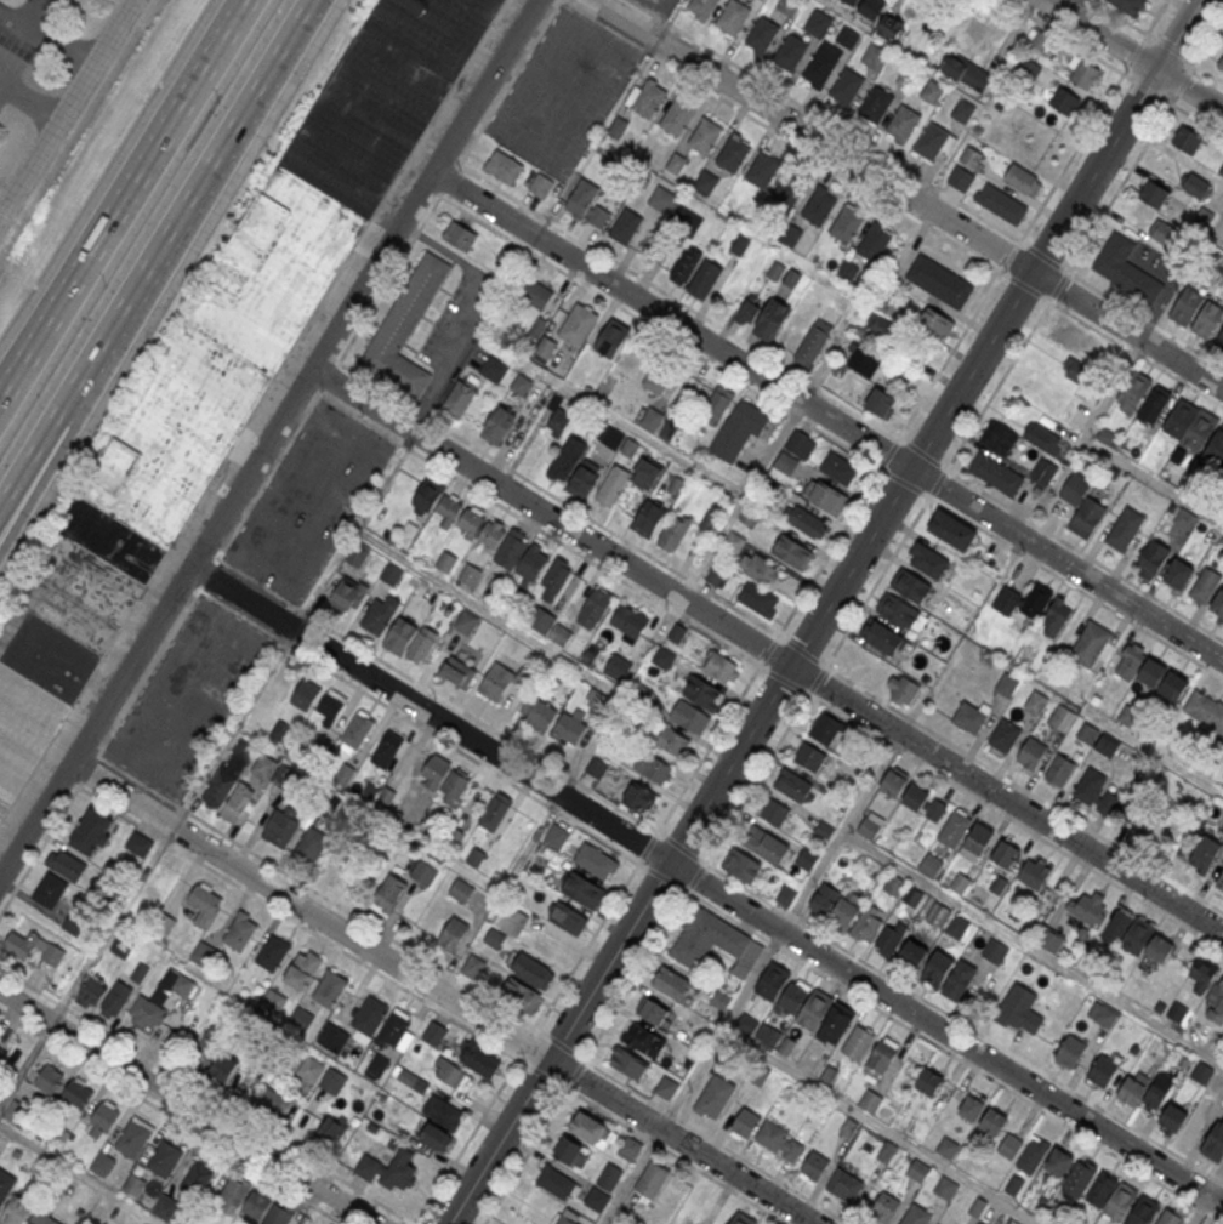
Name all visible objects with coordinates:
road: (1048, 0)
building: (851, 1)
parking lot: (660, 6)
building: (1128, 6)
building: (701, 7)
road: (28, 13)
building: (882, 17)
building: (732, 18)
building: (819, 24)
road: (1054, 28)
building: (761, 35)
road: (46, 42)
building: (790, 53)
road: (1134, 55)
building: (875, 57)
building: (1221, 62)
road: (1127, 64)
building: (821, 66)
building: (967, 73)
building: (1082, 74)
building: (906, 78)
building: (846, 87)
parking lot: (562, 92)
building: (932, 93)
road: (32, 95)
building: (649, 101)
building: (1065, 103)
building: (875, 106)
road: (68, 110)
building: (962, 110)
building: (677, 118)
building: (903, 125)
road: (836, 127)
building: (705, 137)
building: (1187, 140)
road: (795, 142)
building: (931, 143)
building: (733, 154)
road: (150, 155)
building: (971, 156)
building: (502, 166)
building: (1221, 169)
building: (763, 171)
building: (961, 180)
building: (1023, 180)
building: (706, 181)
building: (1194, 184)
building: (540, 186)
building: (790, 188)
building: (1153, 194)
road: (906, 195)
building: (662, 199)
building: (587, 205)
building: (1001, 205)
building: (818, 207)
building: (846, 224)
building: (625, 227)
building: (1164, 234)
building: (459, 235)
building: (874, 244)
building: (739, 245)
road: (155, 249)
building: (684, 266)
building: (1125, 268)
building: (775, 271)
building: (791, 278)
building: (705, 279)
building: (939, 281)
building: (536, 295)
road: (678, 302)
building: (1187, 306)
road: (474, 311)
building: (763, 318)
building: (1207, 319)
building: (937, 324)
building: (578, 326)
building: (405, 329)
road: (659, 332)
building: (611, 340)
building: (1219, 340)
road: (27, 342)
building: (813, 343)
building: (546, 348)
road: (27, 354)
building: (227, 359)
building: (861, 361)
road: (106, 370)
building: (493, 370)
building: (1077, 371)
building: (655, 381)
building: (521, 385)
building: (1133, 392)
building: (460, 398)
building: (717, 404)
building: (881, 404)
building: (1154, 404)
road: (827, 416)
building: (1181, 417)
building: (652, 419)
building: (558, 423)
building: (499, 425)
building: (1200, 429)
building: (739, 431)
road: (268, 437)
building: (999, 438)
building: (1108, 438)
building: (1043, 439)
road: (656, 444)
building: (800, 445)
building: (630, 446)
building: (1216, 448)
road: (1107, 450)
building: (567, 459)
building: (838, 469)
building: (996, 472)
building: (1045, 472)
building: (582, 483)
building: (675, 485)
building: (611, 486)
building: (825, 499)
road: (741, 500)
parking lot: (308, 501)
building: (437, 502)
building: (1081, 506)
building: (749, 517)
building: (648, 519)
building: (1184, 520)
building: (470, 522)
building: (807, 522)
building: (950, 526)
building: (1125, 528)
building: (672, 533)
building: (491, 534)
building: (734, 542)
building: (793, 554)
building: (357, 556)
building: (522, 556)
building: (928, 560)
building: (1151, 560)
building: (445, 562)
building: (758, 568)
building: (1179, 571)
building: (391, 574)
building: (468, 575)
building: (717, 575)
building: (554, 579)
building: (912, 585)
building: (1206, 585)
building: (346, 596)
building: (758, 600)
building: (1023, 602)
building: (1218, 604)
building: (593, 609)
building: (898, 609)
road: (824, 611)
building: (379, 616)
building: (1057, 617)
building: (465, 621)
building: (628, 622)
building: (552, 628)
building: (677, 634)
building: (881, 634)
building: (410, 639)
road: (540, 642)
building: (1090, 644)
road: (767, 653)
building: (662, 657)
building: (618, 667)
road: (757, 667)
building: (721, 668)
building: (457, 672)
building: (1153, 672)
building: (502, 681)
building: (1006, 684)
building: (1173, 685)
building: (903, 689)
building: (305, 694)
building: (702, 694)
parking lot: (188, 695)
building: (596, 700)
building: (1036, 702)
building: (329, 706)
building: (1205, 710)
building: (536, 712)
building: (690, 717)
building: (969, 717)
building: (1062, 718)
road: (790, 722)
building: (569, 729)
building: (357, 730)
building: (825, 730)
building: (1003, 735)
building: (672, 741)
building: (386, 748)
building: (1031, 753)
road: (97, 755)
building: (809, 758)
building: (263, 765)
building: (654, 768)
building: (1059, 770)
building: (434, 773)
building: (227, 774)
building: (343, 775)
building: (284, 778)
building: (893, 784)
building: (1090, 785)
building: (792, 786)
road: (1210, 786)
building: (454, 789)
building: (639, 798)
building: (237, 802)
building: (925, 804)
building: (495, 812)
building: (774, 813)
building: (870, 826)
building: (1149, 826)
building: (280, 827)
building: (954, 827)
building: (91, 833)
building: (556, 836)
building: (975, 839)
road: (42, 841)
building: (137, 844)
building: (311, 846)
building: (766, 846)
building: (1005, 853)
building: (1204, 855)
building: (806, 859)
building: (596, 861)
building: (929, 863)
building: (741, 865)
building: (66, 866)
building: (874, 870)
building: (332, 871)
building: (1034, 872)
building: (422, 873)
road: (808, 879)
road: (707, 883)
building: (894, 883)
building: (581, 888)
building: (461, 889)
building: (49, 890)
building: (387, 894)
building: (785, 895)
building: (824, 899)
building: (204, 905)
building: (846, 905)
building: (1088, 910)
building: (938, 912)
building: (567, 917)
road: (983, 917)
building: (510, 918)
building: (866, 920)
building: (72, 923)
building: (956, 923)
building: (239, 930)
building: (889, 932)
building: (453, 934)
building: (1048, 936)
building: (715, 943)
building: (121, 946)
building: (30, 947)
building: (995, 947)
building: (1159, 947)
building: (272, 952)
building: (201, 953)
building: (912, 955)
building: (937, 964)
building: (472, 967)
building: (529, 969)
building: (1204, 969)
building: (301, 970)
building: (770, 978)
building: (957, 979)
building: (181, 985)
building: (673, 985)
building: (329, 987)
road: (445, 989)
building: (91, 991)
building: (517, 994)
building: (792, 996)
building: (115, 1000)
building: (269, 1000)
road: (433, 1003)
building: (814, 1006)
building: (1216, 1007)
building: (653, 1012)
building: (369, 1013)
building: (1103, 1013)
building: (146, 1014)
building: (835, 1019)
building: (300, 1020)
building: (392, 1026)
road: (721, 1029)
building: (434, 1034)
building: (332, 1038)
building: (644, 1040)
building: (857, 1040)
building: (206, 1046)
building: (1070, 1049)
building: (880, 1054)
building: (478, 1060)
road: (24, 1063)
building: (628, 1063)
building: (376, 1068)
building: (223, 1069)
building: (1102, 1070)
building: (449, 1074)
building: (1201, 1074)
building: (406, 1078)
building: (46, 1080)
building: (928, 1081)
building: (666, 1087)
building: (1131, 1091)
building: (75, 1092)
building: (713, 1093)
building: (271, 1100)
building: (870, 1100)
building: (969, 1106)
road: (187, 1108)
building: (1172, 1116)
building: (102, 1118)
building: (744, 1121)
building: (992, 1121)
building: (439, 1123)
road: (878, 1127)
building: (591, 1129)
building: (329, 1134)
building: (132, 1135)
building: (779, 1140)
building: (1009, 1146)
building: (630, 1148)
building: (946, 1148)
building: (569, 1151)
building: (1033, 1155)
building: (164, 1156)
building: (1058, 1161)
building: (102, 1165)
building: (814, 1166)
building: (917, 1169)
building: (391, 1171)
road: (78, 1175)
building: (610, 1175)
road: (632, 1175)
building: (197, 1177)
building: (652, 1180)
building: (1077, 1180)
building: (5, 1183)
building: (558, 1183)
road: (1216, 1183)
building: (844, 1185)
building: (945, 1188)
building: (233, 1194)
building: (597, 1196)
building: (1111, 1196)
building: (886, 1205)
road: (1200, 1209)
building: (16, 1211)
building: (1143, 1211)
building: (277, 1214)
building: (915, 1214)
building: (41, 1218)
building: (564, 1218)
building: (738, 1219)

